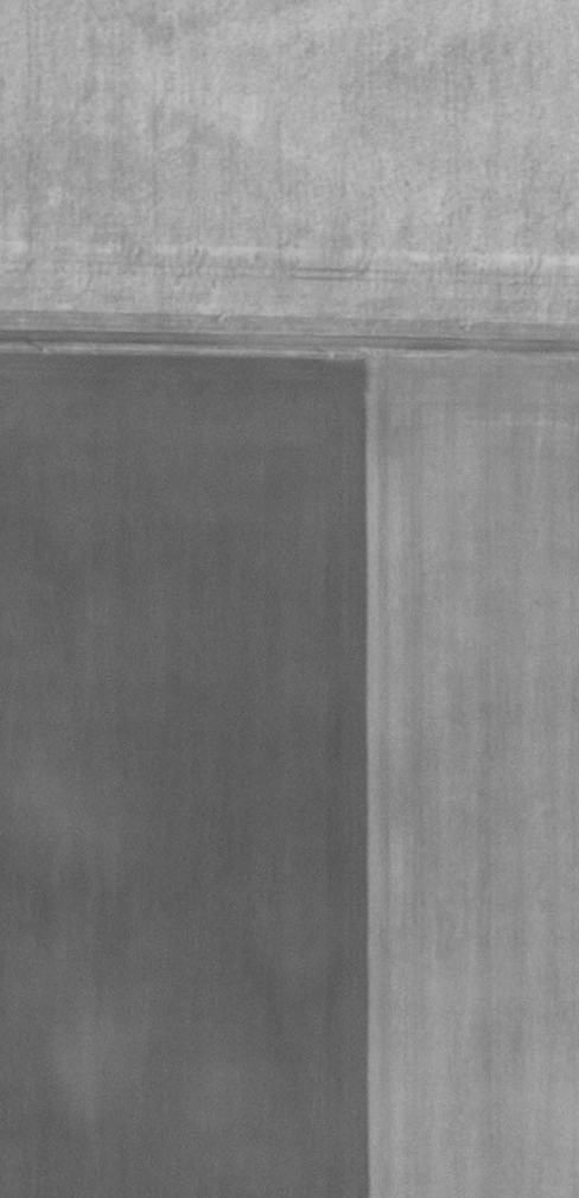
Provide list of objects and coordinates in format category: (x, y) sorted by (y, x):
road: (289, 332)

